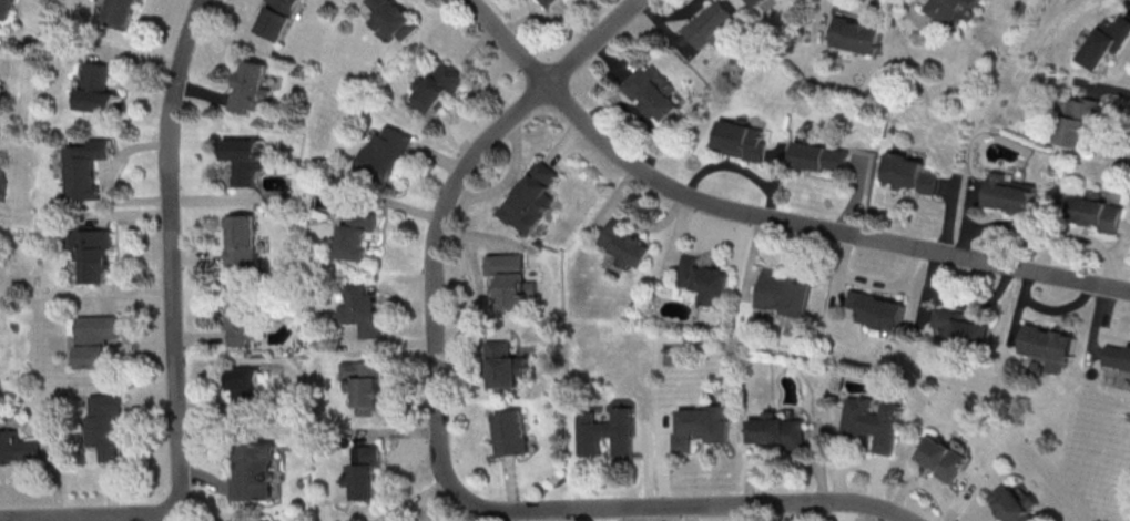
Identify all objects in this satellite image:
road: (1128, 1)
building: (549, 2)
building: (556, 3)
building: (762, 3)
road: (864, 7)
building: (7, 10)
building: (957, 10)
building: (123, 12)
road: (683, 12)
road: (924, 16)
road: (537, 17)
building: (282, 20)
road: (829, 21)
building: (399, 22)
road: (580, 24)
road: (671, 25)
building: (715, 25)
building: (859, 37)
road: (0, 43)
building: (1106, 44)
road: (482, 49)
road: (144, 55)
road: (617, 59)
road: (1101, 86)
road: (205, 90)
building: (255, 90)
building: (442, 90)
building: (102, 92)
building: (654, 99)
road: (469, 100)
building: (1082, 125)
building: (745, 142)
road: (566, 144)
road: (777, 155)
building: (390, 156)
road: (445, 159)
building: (825, 160)
building: (247, 162)
road: (864, 163)
road: (731, 165)
building: (92, 173)
building: (914, 175)
road: (112, 176)
road: (781, 178)
road: (511, 181)
road: (953, 186)
road: (984, 190)
road: (868, 195)
building: (1011, 195)
road: (217, 196)
road: (614, 200)
building: (535, 202)
road: (410, 206)
building: (1102, 210)
road: (131, 214)
road: (763, 215)
road: (955, 216)
road: (971, 217)
road: (652, 222)
road: (1128, 225)
road: (1019, 226)
road: (480, 235)
building: (365, 236)
road: (679, 237)
road: (1090, 238)
building: (246, 243)
building: (628, 244)
building: (100, 253)
road: (198, 255)
road: (172, 257)
road: (757, 259)
road: (843, 277)
building: (706, 278)
building: (517, 284)
road: (894, 284)
road: (933, 292)
building: (788, 295)
road: (480, 299)
road: (979, 303)
road: (136, 304)
road: (1026, 307)
road: (1066, 308)
building: (367, 313)
building: (883, 314)
building: (247, 321)
road: (1100, 323)
building: (966, 327)
road: (202, 336)
building: (102, 340)
road: (389, 343)
road: (1102, 348)
building: (1051, 349)
building: (1119, 357)
building: (508, 366)
building: (368, 387)
building: (250, 389)
road: (204, 405)
building: (877, 423)
building: (106, 428)
building: (705, 428)
road: (398, 431)
building: (604, 433)
road: (438, 435)
building: (512, 435)
building: (784, 436)
building: (19, 448)
building: (947, 460)
road: (845, 461)
road: (651, 464)
road: (669, 464)
road: (773, 464)
road: (822, 466)
building: (365, 472)
building: (264, 478)
road: (59, 480)
road: (203, 480)
road: (924, 481)
road: (515, 483)
road: (880, 484)
road: (113, 493)
road: (427, 497)
road: (968, 497)
building: (1021, 502)
road: (466, 510)
road: (696, 513)
road: (750, 513)
road: (849, 513)
road: (615, 514)
road: (529, 515)
road: (603, 515)
road: (868, 515)
road: (89, 518)
road: (90, 519)
road: (156, 519)
road: (0, 520)
road: (51, 520)

